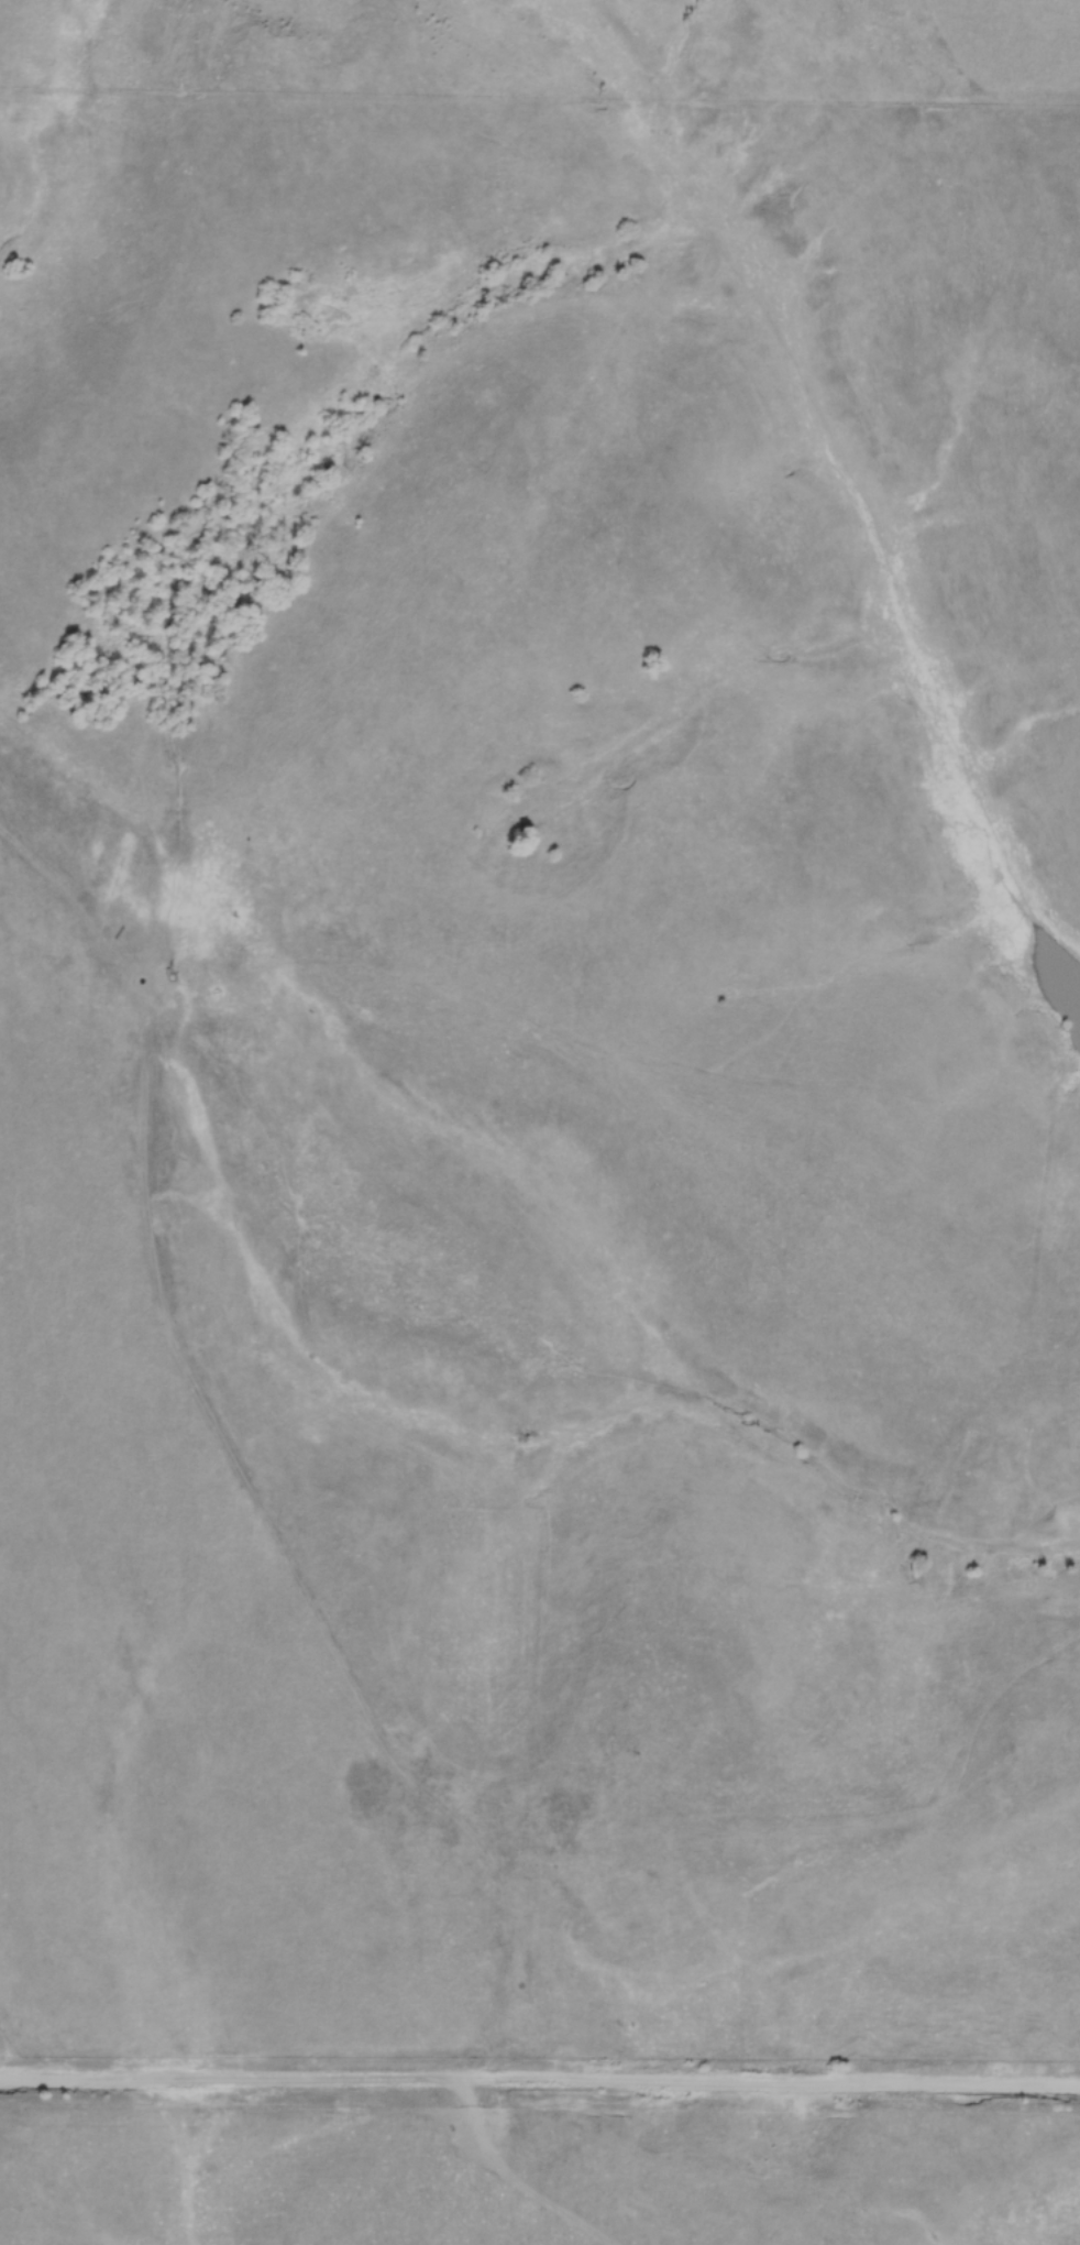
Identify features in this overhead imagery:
road: (540, 2081)

